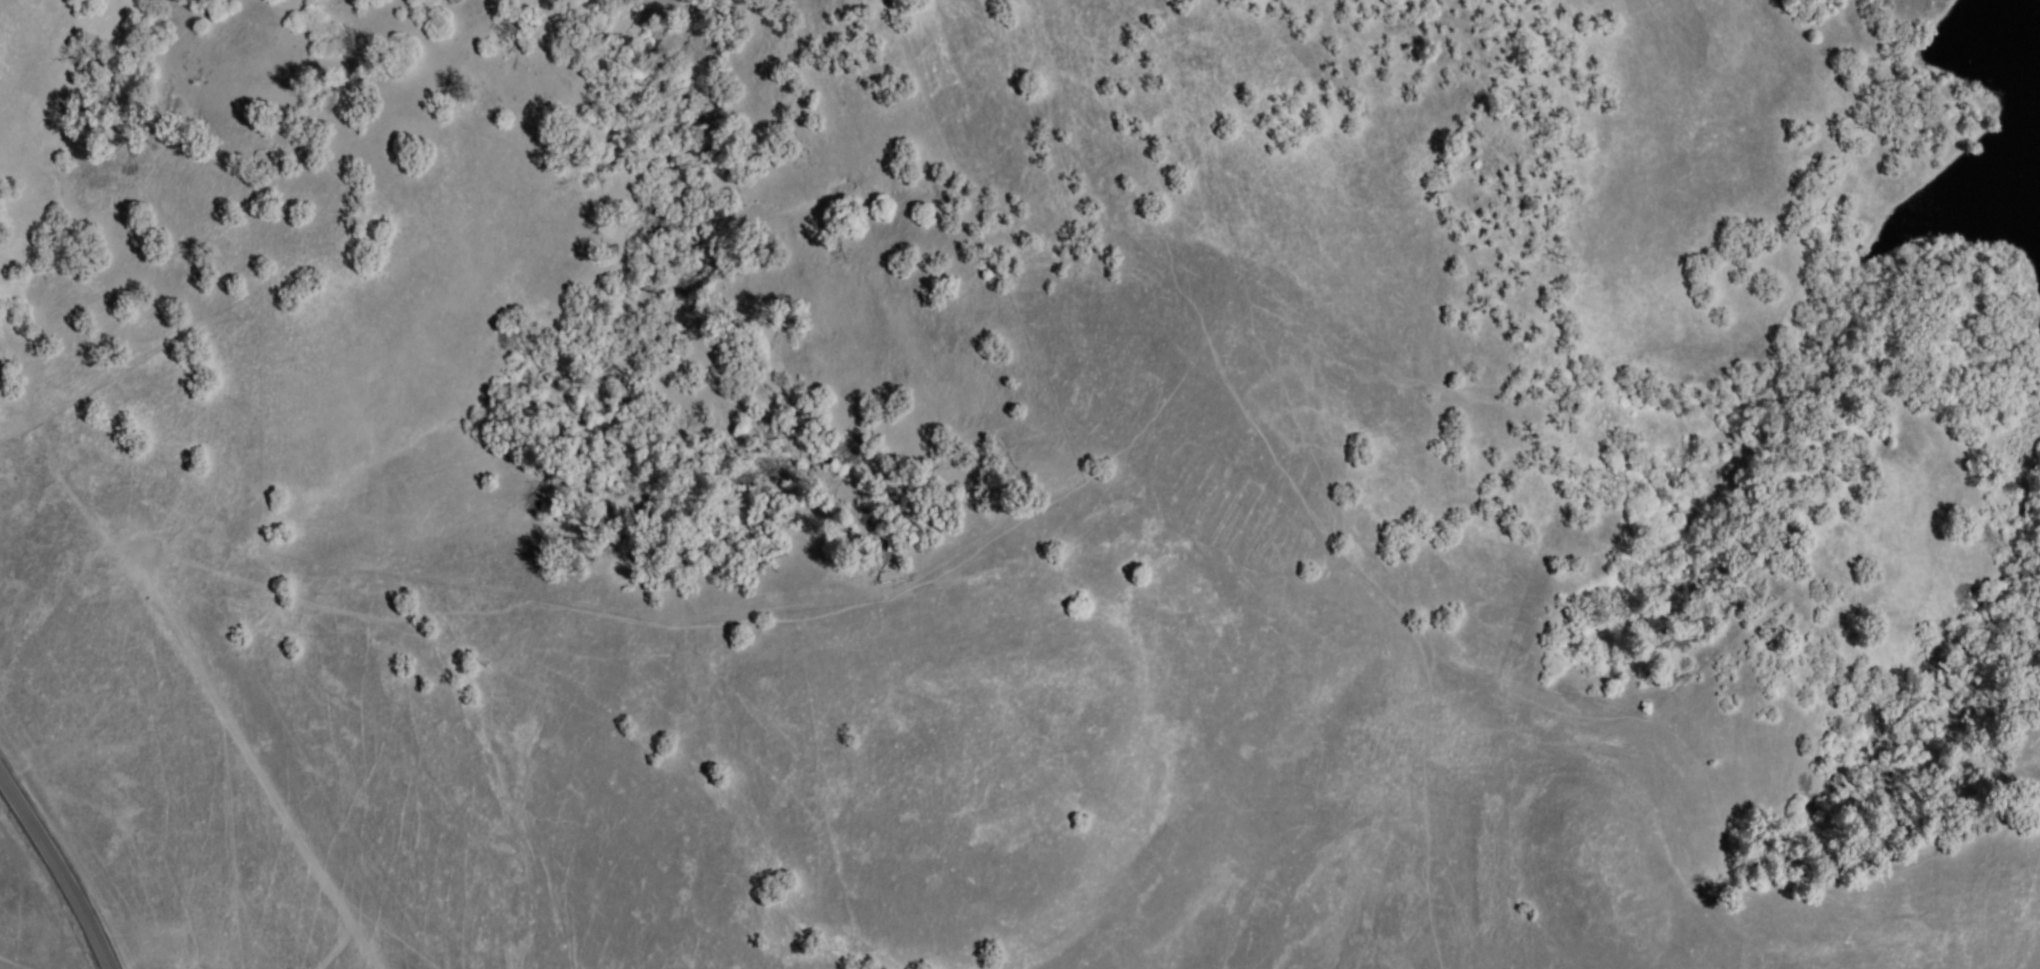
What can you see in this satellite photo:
airport: (252, 728)
airport runway: (258, 757)
road: (59, 869)

